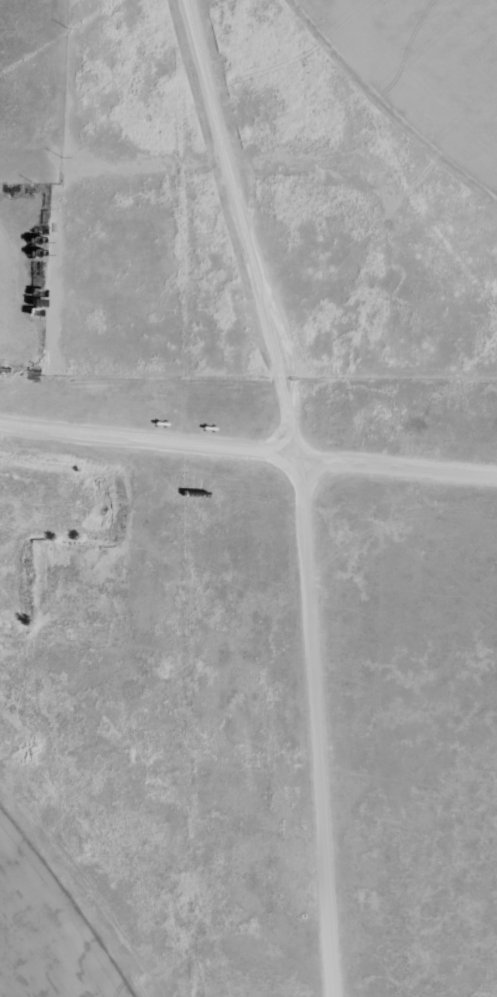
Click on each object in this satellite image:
crop: (448, 49)
road: (291, 317)
road: (319, 727)
crop: (30, 956)

